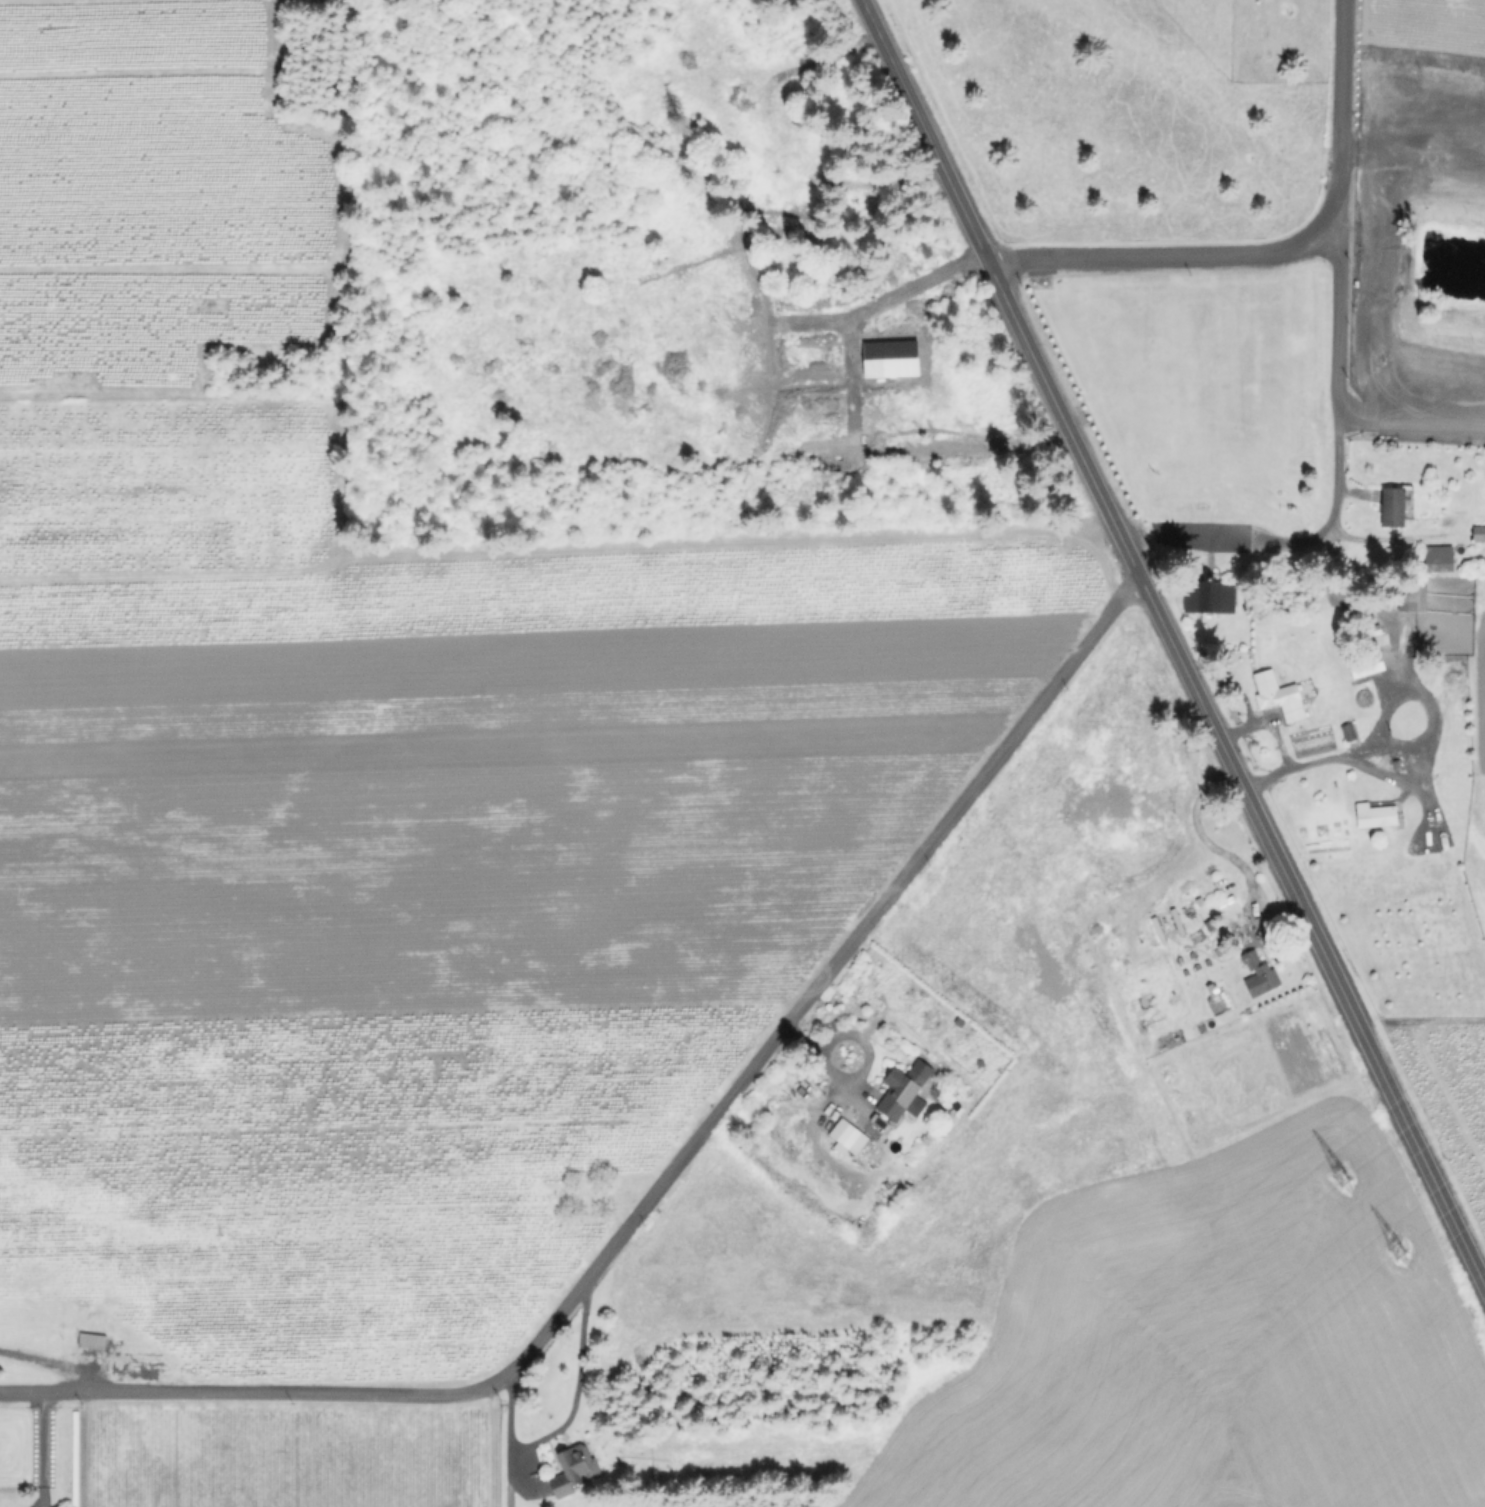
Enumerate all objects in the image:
road: (1413, 151)
road: (1275, 252)
road: (1341, 416)
road: (1413, 418)
building: (1392, 506)
building: (1479, 533)
road: (1206, 539)
building: (1440, 558)
building: (1210, 597)
building: (1412, 597)
road: (1173, 644)
building: (1367, 665)
road: (1229, 684)
building: (1280, 696)
building: (1400, 718)
road: (1268, 724)
building: (1349, 731)
road: (1318, 762)
building: (1376, 815)
road: (1210, 850)
building: (1257, 975)
building: (904, 1084)
building: (882, 1116)
building: (847, 1127)
power tower: (1333, 1173)
road: (664, 1176)
power tower: (1390, 1245)
building: (93, 1341)
road: (48, 1366)
road: (506, 1441)
road: (40, 1449)
building: (577, 1464)
building: (636, 1506)

